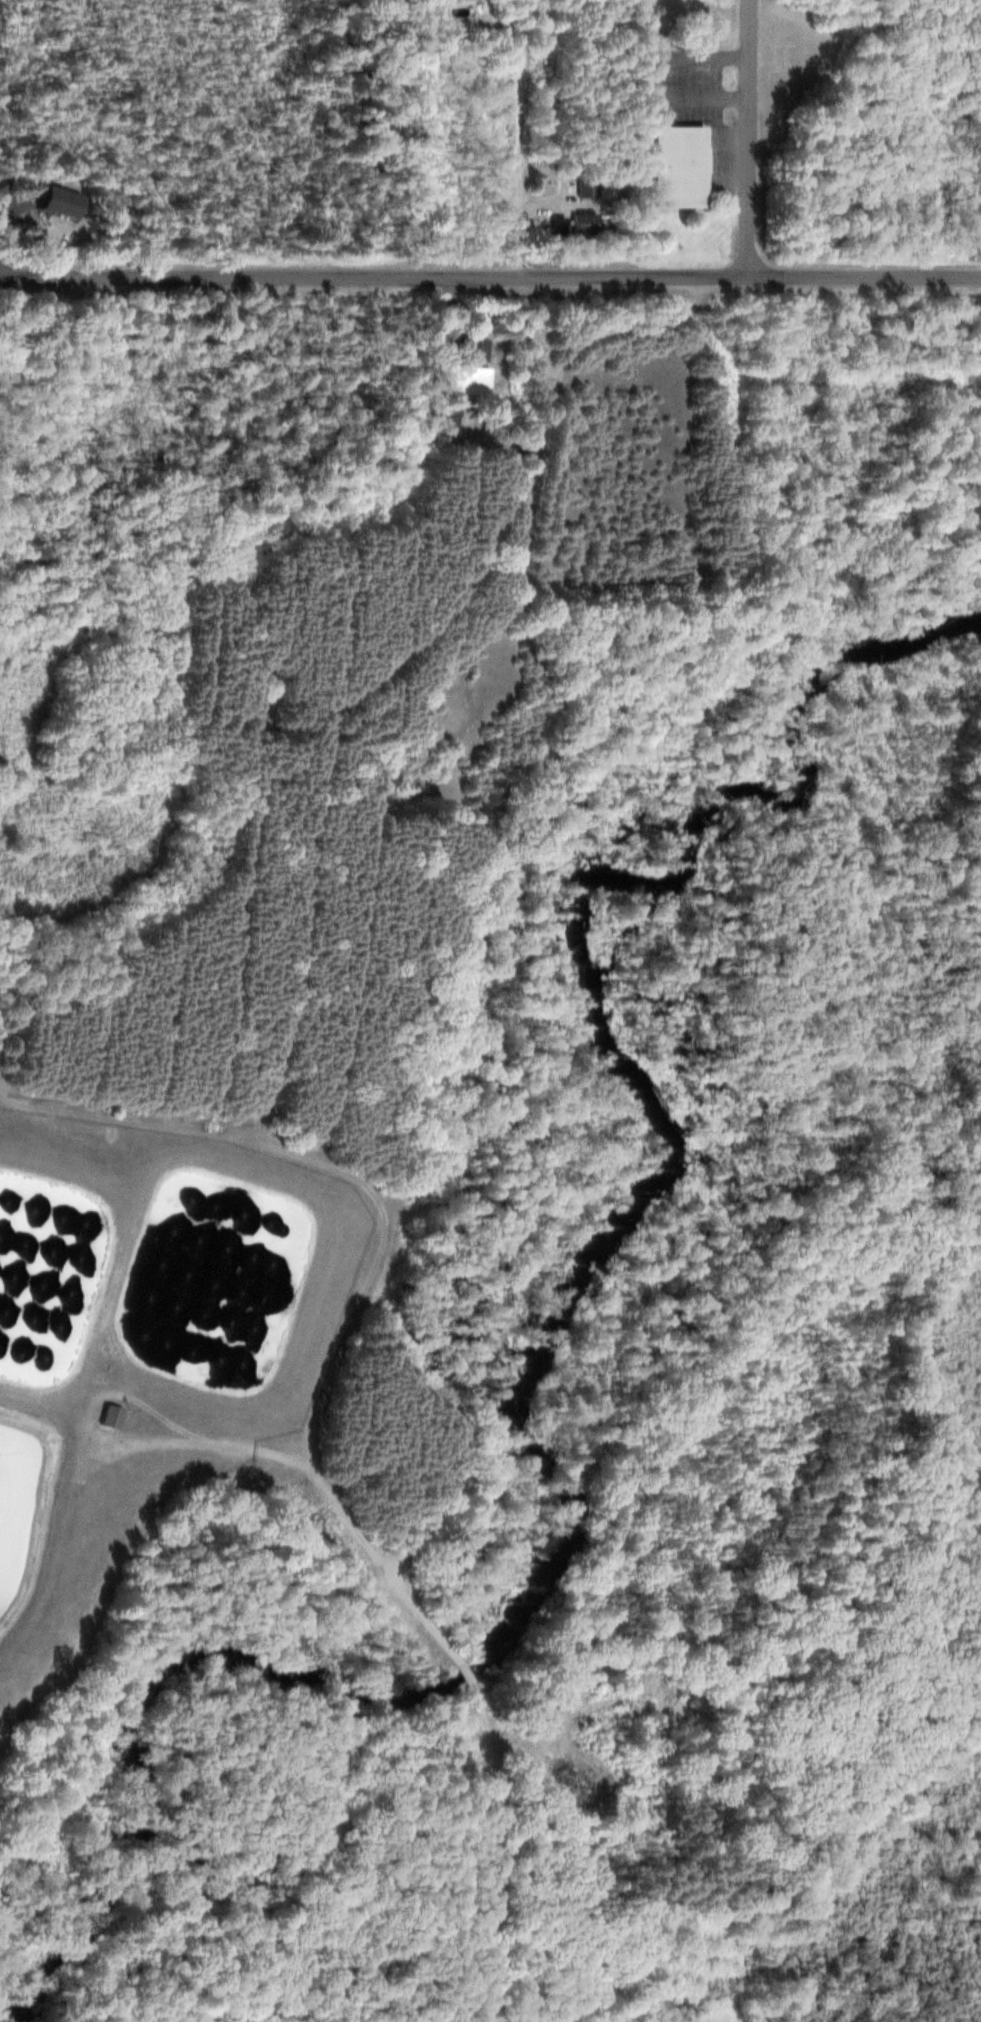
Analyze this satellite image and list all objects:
road: (524, 138)
road: (750, 138)
building: (675, 166)
building: (584, 184)
building: (577, 224)
building: (553, 225)
road: (490, 276)
building: (471, 348)
building: (446, 444)
road: (336, 1161)
wastewater plant: (147, 1336)
building: (103, 1414)
road: (318, 1480)
road: (469, 1673)
road: (529, 1848)

